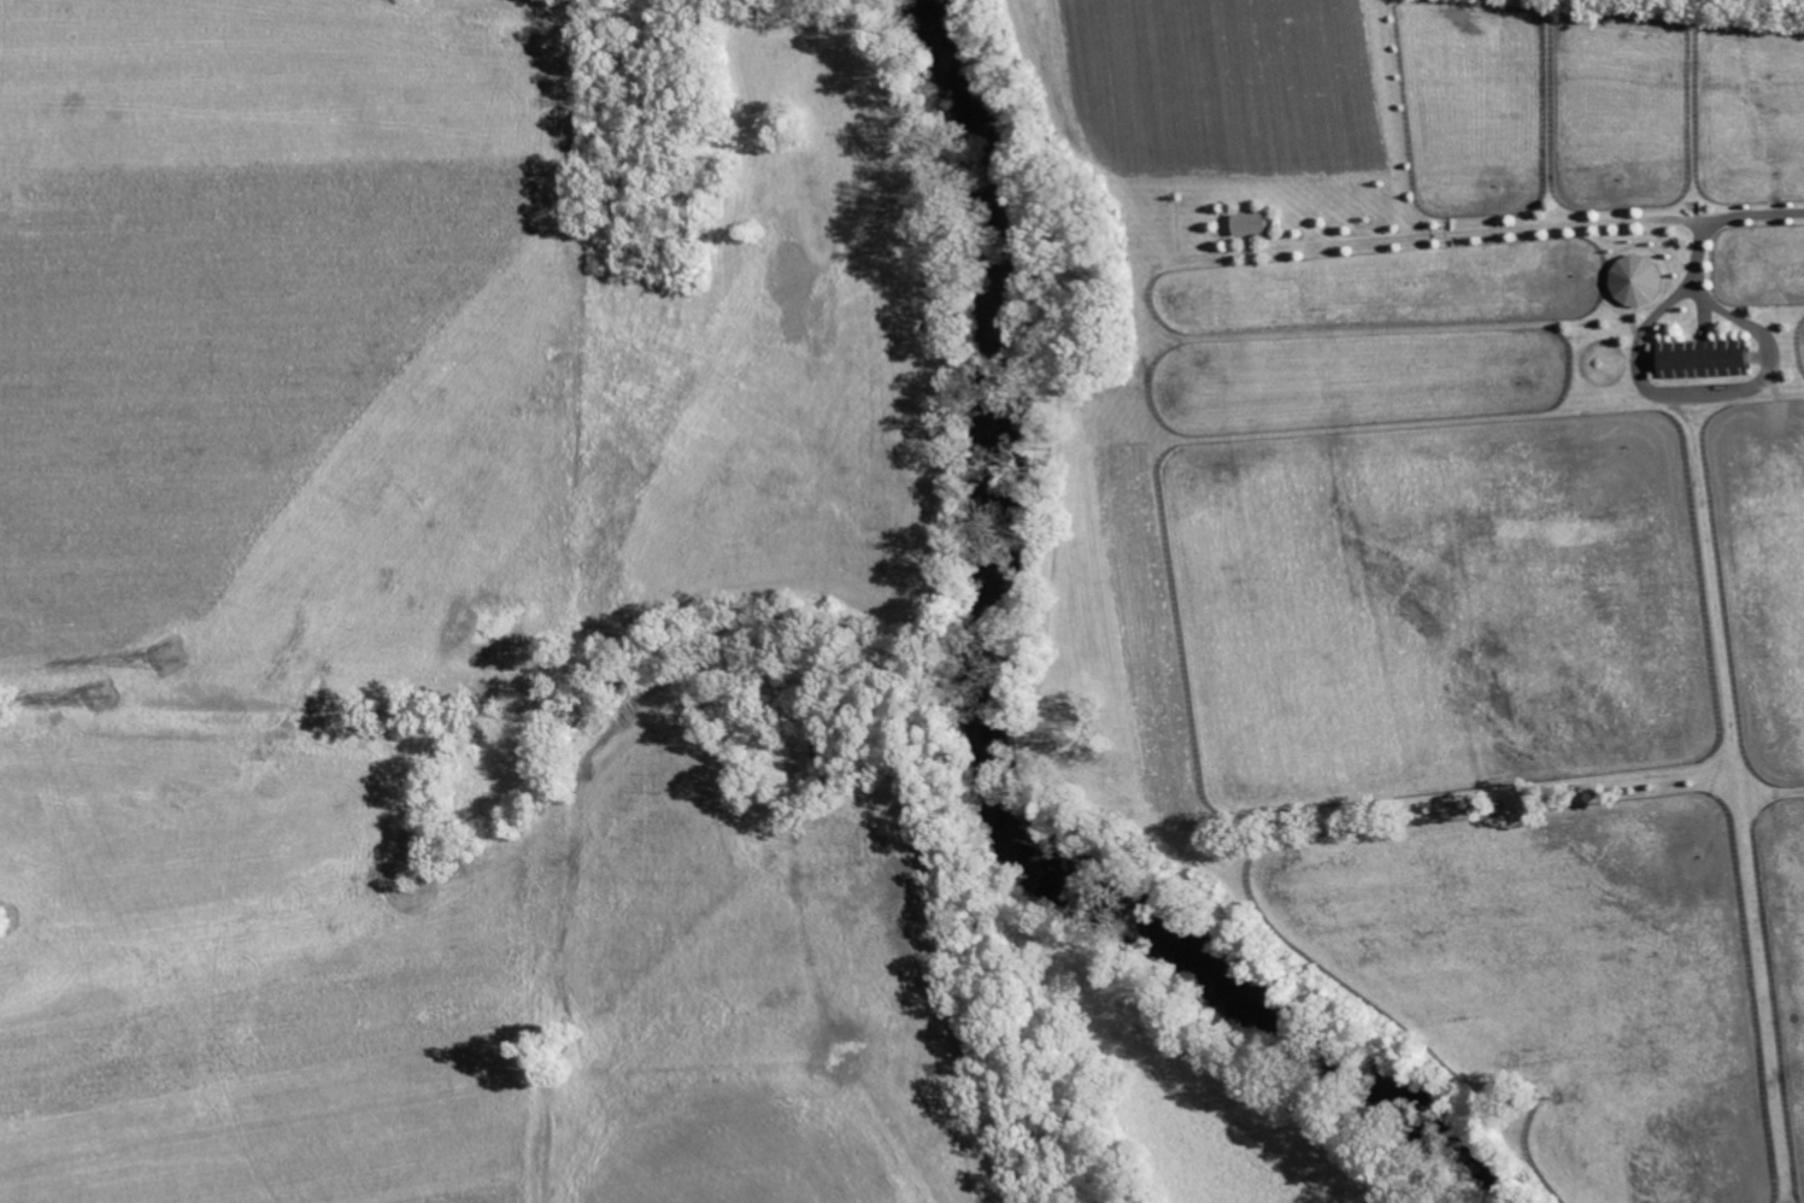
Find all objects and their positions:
building: (1245, 223)
road: (1523, 236)
road: (1697, 280)
building: (1698, 358)
road: (1696, 394)
power tower: (170, 657)
power tower: (102, 693)

